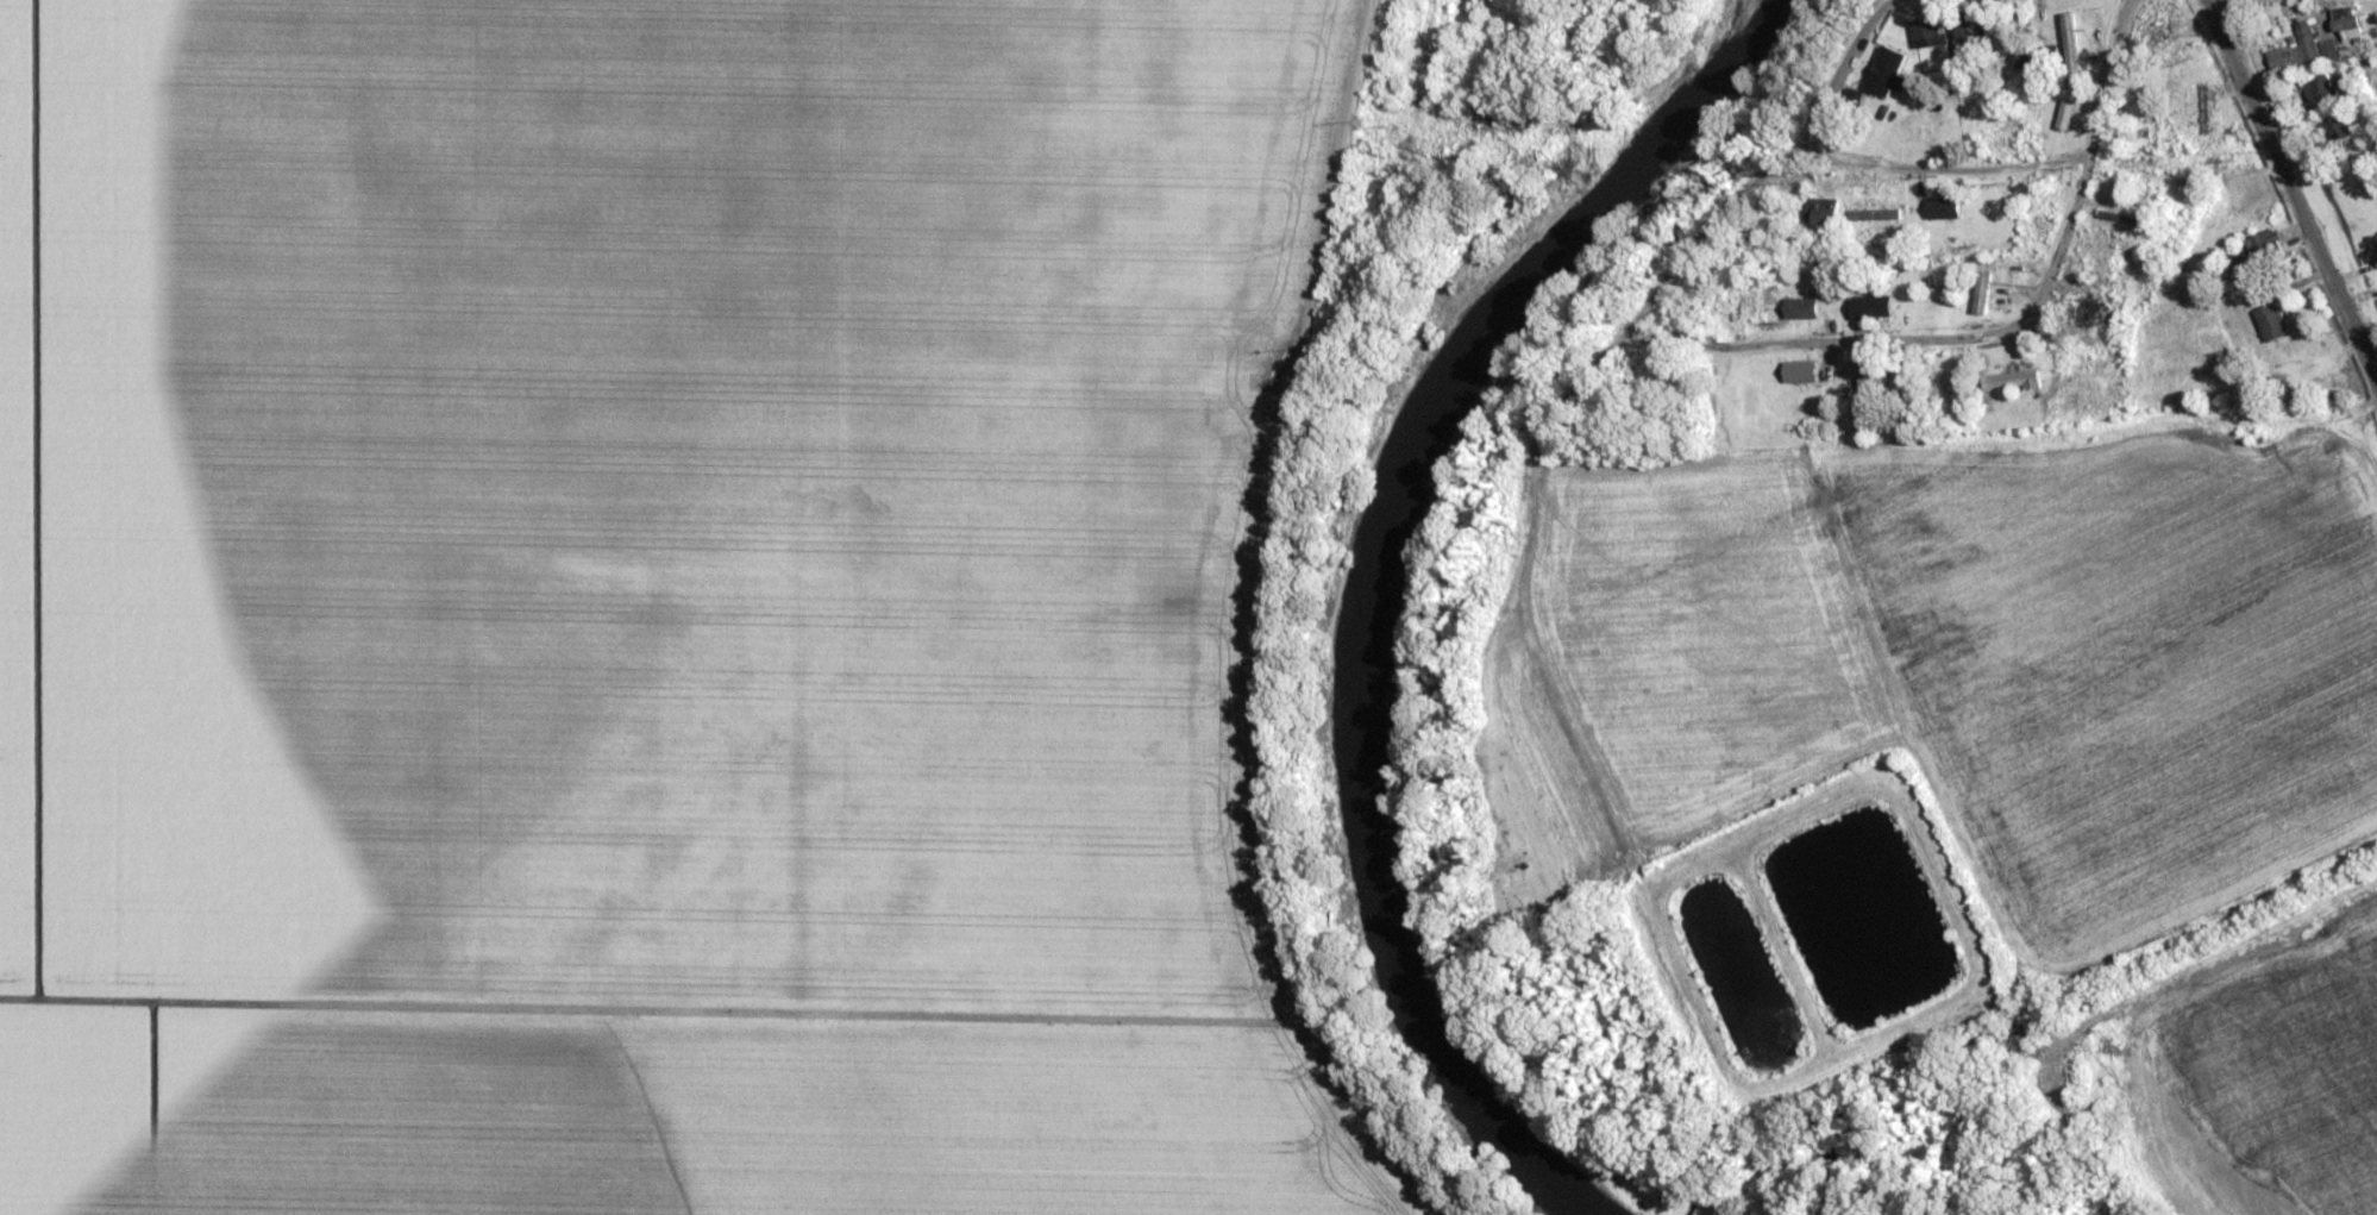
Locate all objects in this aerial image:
road: (2218, 2)
building: (1964, 25)
building: (1919, 33)
building: (2153, 36)
building: (2300, 44)
building: (2032, 60)
building: (1875, 75)
building: (2315, 88)
building: (2204, 106)
building: (2340, 123)
road: (1939, 165)
road: (2087, 165)
road: (1770, 169)
road: (2290, 194)
building: (1936, 205)
building: (1818, 212)
building: (1873, 214)
building: (2116, 217)
building: (2037, 224)
building: (2259, 245)
building: (2375, 246)
building: (2375, 262)
building: (1986, 292)
building: (1986, 302)
building: (1867, 307)
building: (1794, 309)
building: (2087, 309)
building: (1689, 318)
building: (2266, 318)
road: (1824, 339)
building: (1799, 368)
building: (1867, 372)
building: (2007, 380)

